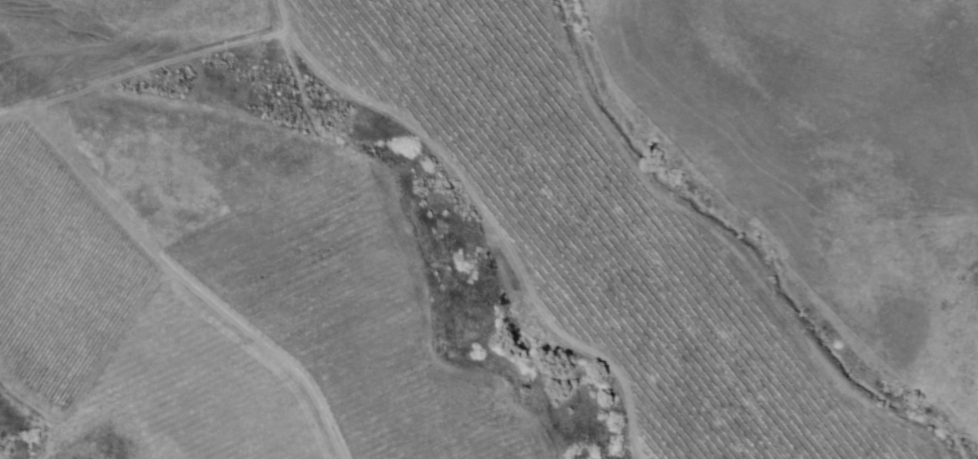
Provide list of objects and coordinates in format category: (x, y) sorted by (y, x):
crop: (446, 242)

